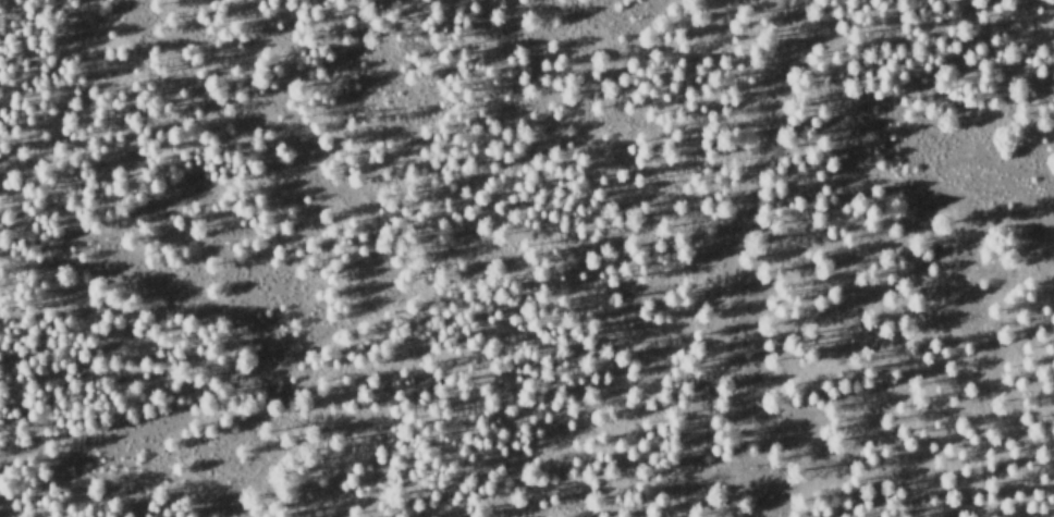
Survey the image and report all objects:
road: (732, 259)
road: (971, 369)

